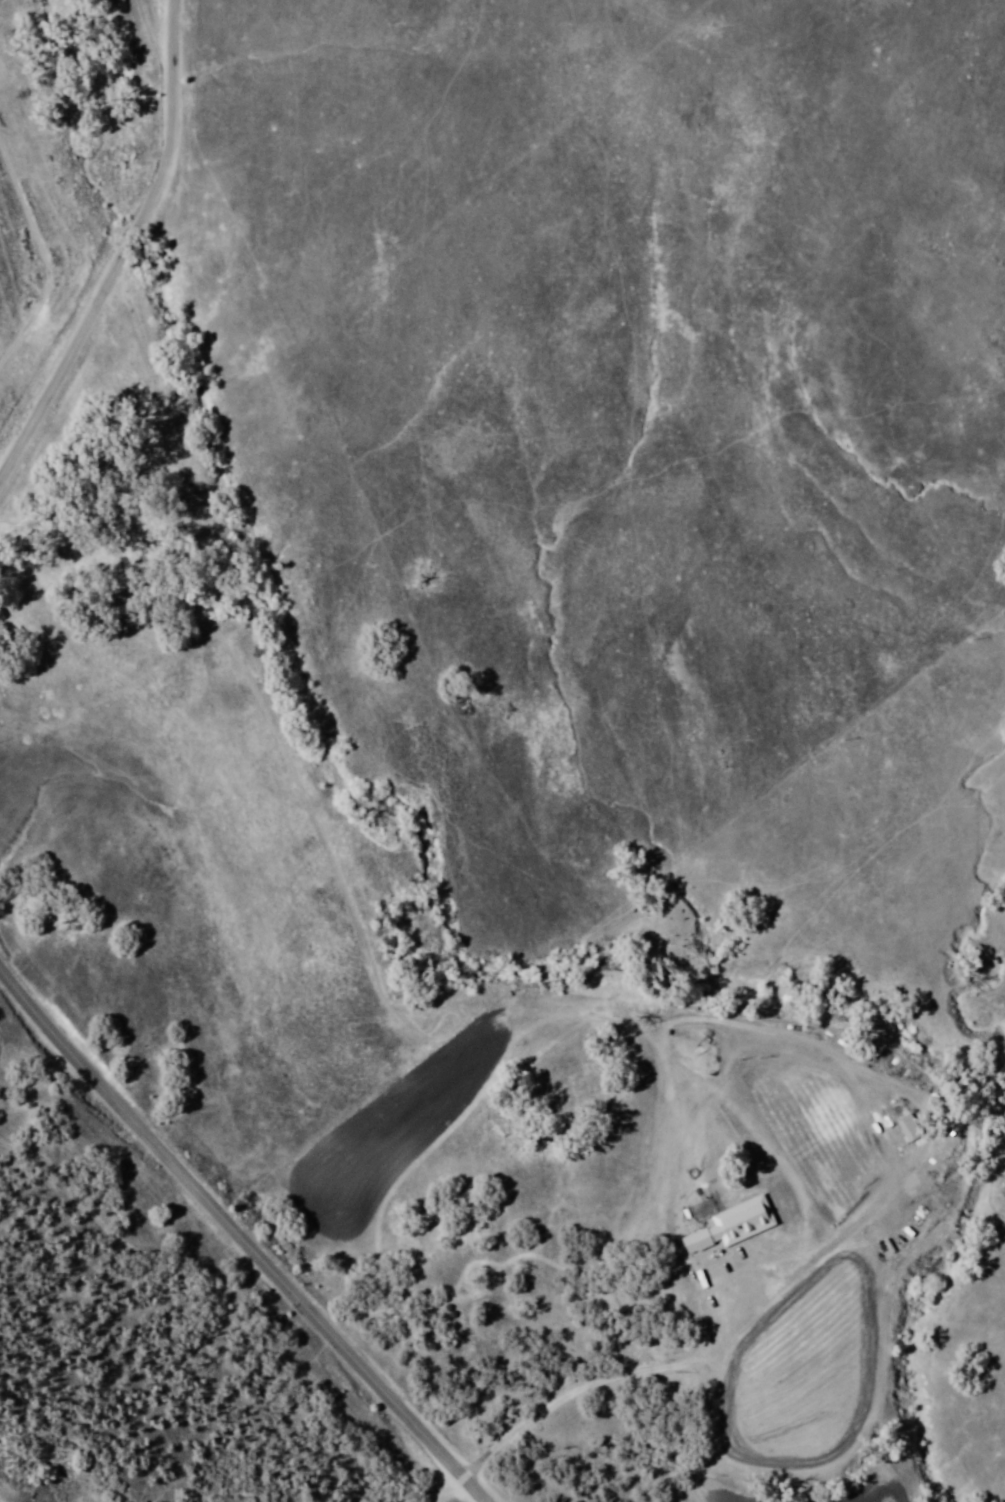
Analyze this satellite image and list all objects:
road: (127, 249)
crop: (9, 289)
road: (239, 1231)
road: (450, 1491)

